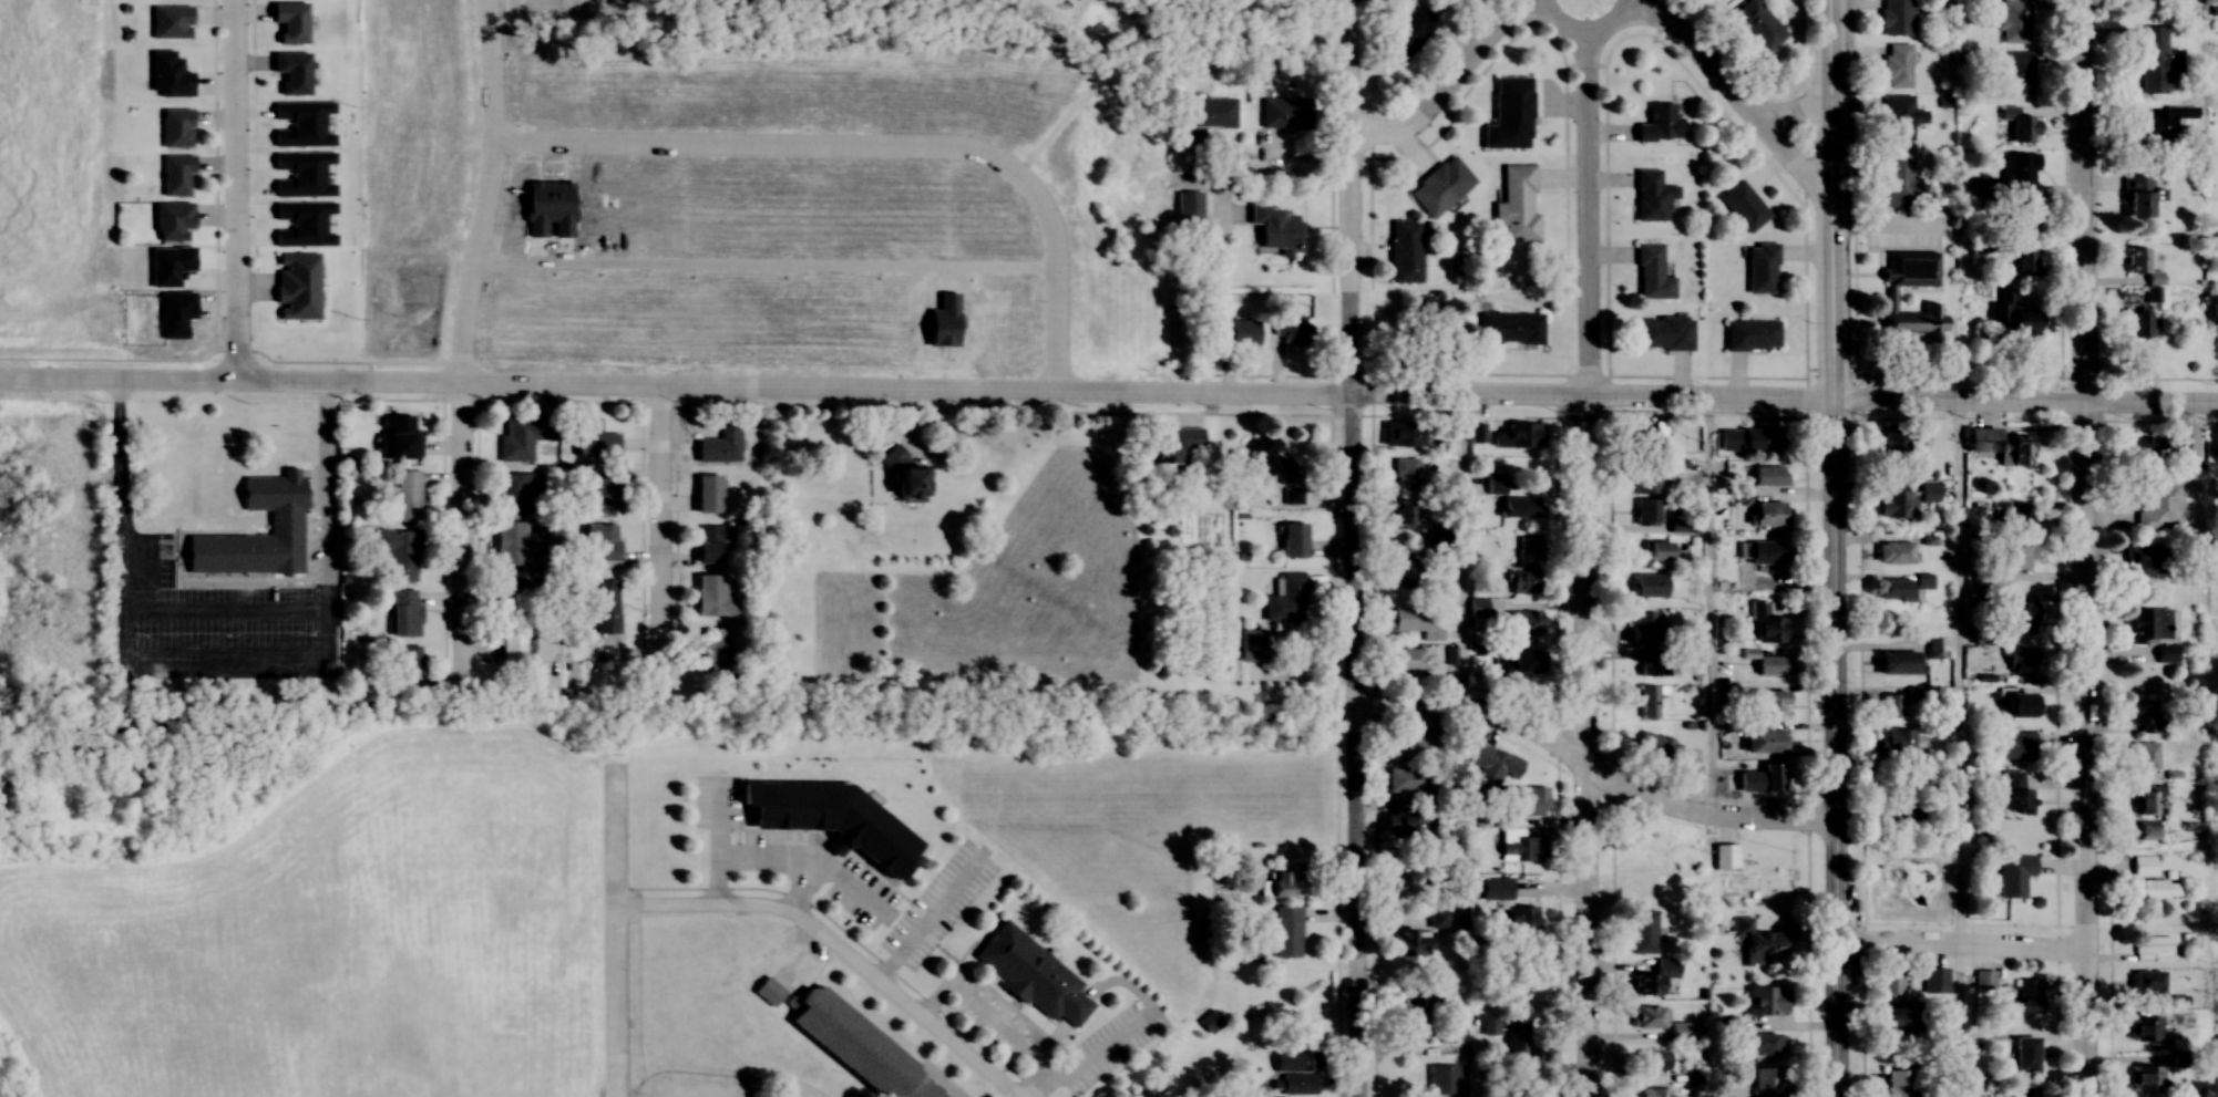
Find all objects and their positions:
building: (1393, 0)
building: (1896, 17)
building: (168, 21)
building: (288, 21)
building: (2014, 21)
building: (1758, 24)
road: (1581, 29)
building: (1408, 32)
building: (2157, 60)
building: (1897, 65)
building: (290, 72)
building: (2017, 73)
road: (1447, 86)
road: (1734, 97)
building: (1210, 112)
building: (1280, 112)
building: (1509, 114)
building: (1899, 117)
building: (2165, 120)
building: (1659, 124)
building: (2021, 125)
building: (173, 127)
park: (825, 172)
building: (2022, 173)
building: (173, 175)
road: (1298, 179)
building: (1898, 179)
building: (1440, 186)
road: (236, 190)
building: (2137, 195)
building: (1651, 196)
building: (1517, 203)
building: (1743, 206)
building: (1187, 208)
building: (2022, 216)
building: (170, 220)
building: (1274, 227)
building: (1404, 250)
building: (2021, 262)
building: (1760, 268)
building: (2142, 268)
building: (1651, 273)
building: (296, 286)
building: (2153, 293)
building: (1890, 294)
building: (2214, 308)
building: (2009, 314)
building: (2135, 323)
building: (1509, 328)
building: (1239, 330)
building: (1288, 330)
building: (1663, 333)
building: (1750, 335)
road: (1108, 395)
building: (1719, 428)
building: (1401, 433)
building: (522, 435)
building: (1518, 435)
building: (1649, 435)
building: (399, 437)
building: (592, 438)
building: (1755, 439)
building: (1172, 443)
building: (719, 444)
building: (2179, 444)
building: (1999, 445)
building: (2145, 448)
building: (1265, 457)
building: (902, 473)
building: (1405, 473)
building: (1767, 476)
building: (1644, 478)
road: (324, 485)
building: (515, 490)
building: (606, 490)
building: (707, 493)
building: (407, 496)
building: (1893, 504)
building: (1519, 507)
building: (2160, 507)
building: (1645, 511)
building: (1401, 513)
building: (1766, 514)
building: (2019, 517)
building: (284, 522)
building: (1683, 527)
road: (658, 538)
building: (600, 540)
building: (710, 541)
road: (461, 544)
building: (512, 544)
road: (1351, 548)
road: (1832, 548)
road: (2084, 548)
building: (1529, 551)
building: (1763, 551)
building: (1894, 551)
building: (398, 552)
building: (1659, 553)
building: (2140, 558)
road: (1581, 562)
building: (2005, 562)
building: (1403, 568)
building: (1526, 582)
building: (1650, 584)
building: (1894, 589)
building: (516, 594)
building: (710, 597)
building: (1286, 599)
building: (603, 607)
building: (403, 613)
building: (2017, 618)
building: (1413, 622)
building: (1523, 623)
building: (1766, 624)
building: (2148, 625)
building: (1643, 627)
building: (509, 644)
building: (1251, 645)
building: (711, 648)
building: (1933, 648)
building: (2165, 653)
building: (1406, 660)
building: (404, 661)
building: (2021, 661)
building: (1516, 662)
building: (1897, 662)
building: (1772, 665)
building: (1653, 666)
road: (1957, 673)
building: (1650, 701)
building: (2017, 702)
building: (1769, 703)
building: (1892, 706)
building: (2143, 715)
building: (1763, 742)
building: (1894, 742)
building: (1415, 743)
building: (2012, 746)
building: (1657, 747)
building: (2144, 756)
building: (1499, 765)
road: (1592, 769)
building: (1773, 772)
building: (1405, 779)
building: (1742, 783)
building: (2012, 788)
building: (1526, 800)
building: (2148, 801)
building: (829, 819)
building: (1404, 820)
building: (2146, 830)
building: (1519, 845)
building: (1725, 856)
building: (2144, 866)
building: (1406, 870)
building: (2013, 875)
building: (1282, 884)
building: (1495, 889)
building: (2156, 889)
building: (1440, 918)
building: (1520, 919)
road: (614, 929)
building: (1643, 931)
building: (1286, 932)
building: (1758, 942)
road: (1958, 942)
building: (1414, 943)
building: (2153, 944)
road: (835, 946)
building: (1030, 974)
building: (1655, 979)
building: (1985, 980)
building: (1890, 981)
building: (2146, 981)
building: (767, 991)
building: (2026, 996)
building: (1765, 1001)
building: (1649, 1017)
building: (1896, 1020)
building: (1409, 1021)
building: (1210, 1022)
building: (2143, 1029)
building: (1680, 1032)
building: (1516, 1041)
building: (1762, 1043)
building: (858, 1048)
building: (2024, 1055)
building: (1652, 1060)
building: (1295, 1073)
building: (1442, 1079)
building: (2146, 1079)
building: (1767, 1080)
building: (1898, 1083)
building: (1656, 1093)

